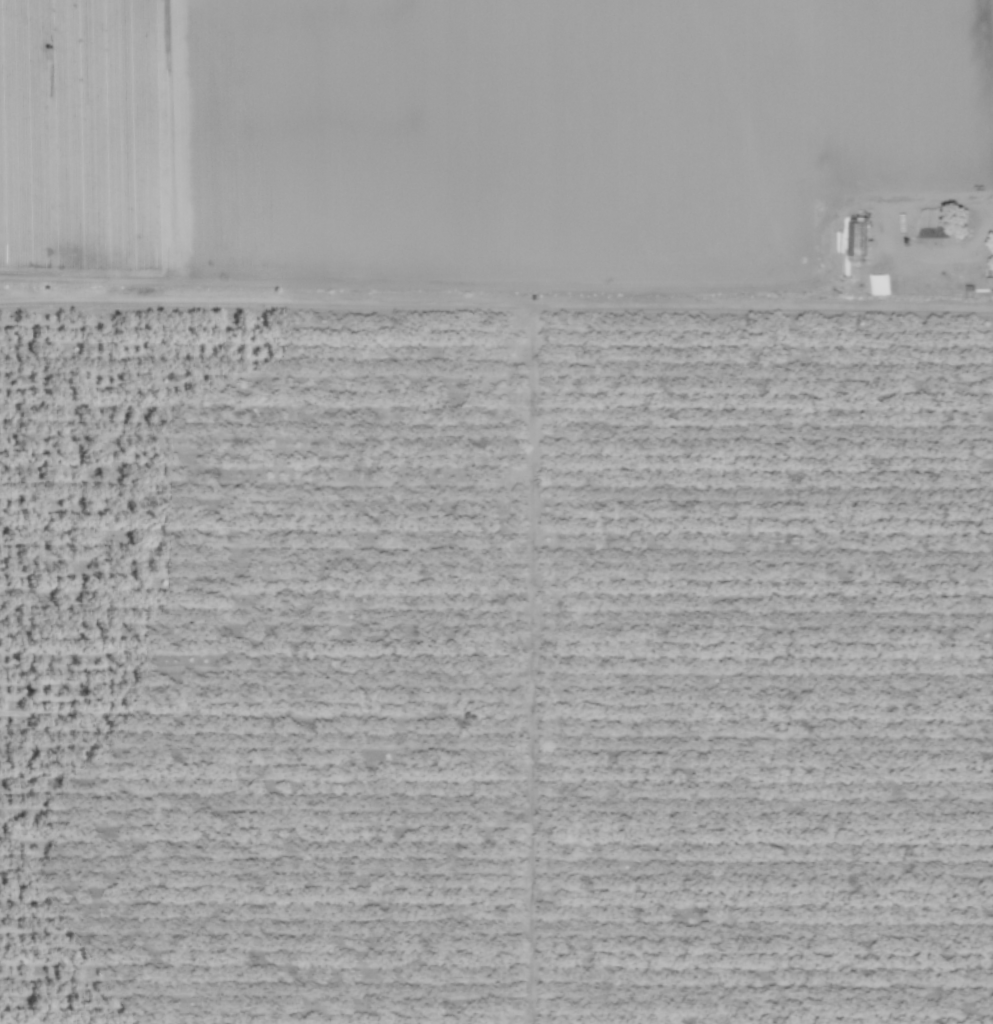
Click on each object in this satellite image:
building: (856, 239)
road: (515, 284)
building: (917, 285)
road: (669, 307)

